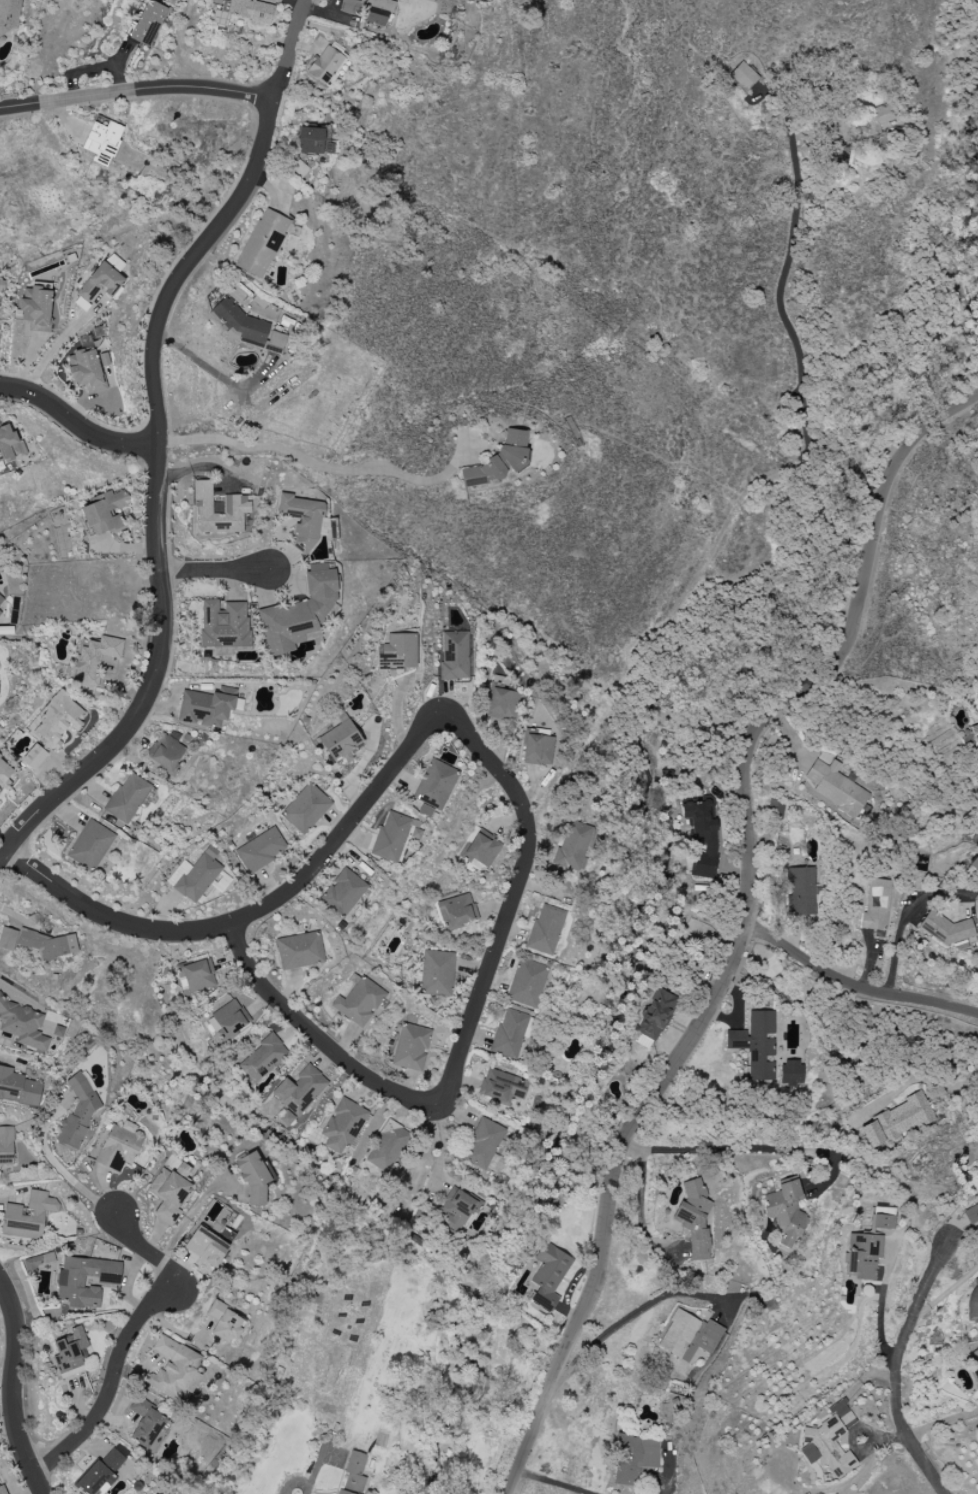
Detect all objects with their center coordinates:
building: (349, 6)
building: (9, 15)
building: (148, 23)
building: (325, 65)
building: (743, 76)
road: (137, 89)
building: (882, 115)
building: (310, 140)
building: (102, 142)
building: (262, 243)
building: (104, 279)
building: (79, 302)
building: (36, 311)
building: (240, 321)
road: (57, 347)
road: (798, 351)
building: (85, 366)
road: (220, 379)
road: (78, 423)
road: (162, 440)
building: (9, 444)
building: (499, 460)
road: (322, 466)
building: (236, 501)
building: (217, 505)
building: (104, 512)
building: (302, 521)
road: (214, 570)
building: (1, 599)
building: (0, 612)
building: (299, 614)
building: (223, 625)
building: (398, 654)
building: (454, 656)
building: (94, 659)
building: (502, 699)
building: (204, 709)
building: (340, 717)
building: (57, 721)
building: (974, 732)
building: (340, 742)
building: (540, 750)
building: (166, 753)
building: (33, 757)
building: (6, 774)
building: (435, 785)
building: (836, 786)
building: (126, 798)
building: (306, 808)
building: (425, 811)
building: (394, 836)
building: (702, 837)
building: (90, 845)
building: (573, 847)
building: (260, 850)
building: (481, 851)
building: (974, 863)
building: (197, 876)
road: (299, 878)
building: (343, 892)
building: (801, 892)
building: (457, 911)
building: (871, 913)
road: (908, 915)
road: (743, 926)
building: (694, 929)
building: (545, 930)
building: (946, 930)
building: (7, 938)
building: (299, 951)
building: (437, 973)
building: (198, 976)
building: (526, 983)
road: (854, 985)
building: (359, 1002)
building: (654, 1019)
building: (228, 1020)
building: (22, 1025)
building: (51, 1031)
building: (509, 1033)
building: (755, 1045)
building: (411, 1048)
building: (264, 1058)
building: (791, 1073)
road: (914, 1079)
road: (445, 1086)
building: (503, 1086)
building: (18, 1088)
building: (300, 1090)
building: (78, 1112)
building: (896, 1121)
building: (343, 1125)
building: (485, 1143)
building: (6, 1145)
building: (118, 1147)
building: (388, 1147)
road: (746, 1147)
road: (442, 1151)
road: (64, 1171)
building: (253, 1177)
building: (170, 1191)
building: (458, 1209)
road: (639, 1210)
building: (882, 1211)
building: (785, 1212)
building: (972, 1212)
building: (28, 1216)
building: (694, 1218)
road: (190, 1219)
building: (881, 1222)
building: (206, 1247)
building: (863, 1255)
building: (37, 1263)
building: (549, 1275)
building: (70, 1284)
building: (973, 1300)
road: (631, 1317)
building: (225, 1323)
building: (689, 1338)
road: (129, 1342)
building: (70, 1351)
building: (973, 1361)
building: (174, 1370)
road: (895, 1370)
road: (13, 1388)
road: (943, 1424)
building: (147, 1425)
building: (829, 1440)
building: (635, 1458)
building: (101, 1472)
building: (353, 1474)
road: (554, 1482)
road: (295, 1483)
building: (2, 1490)

